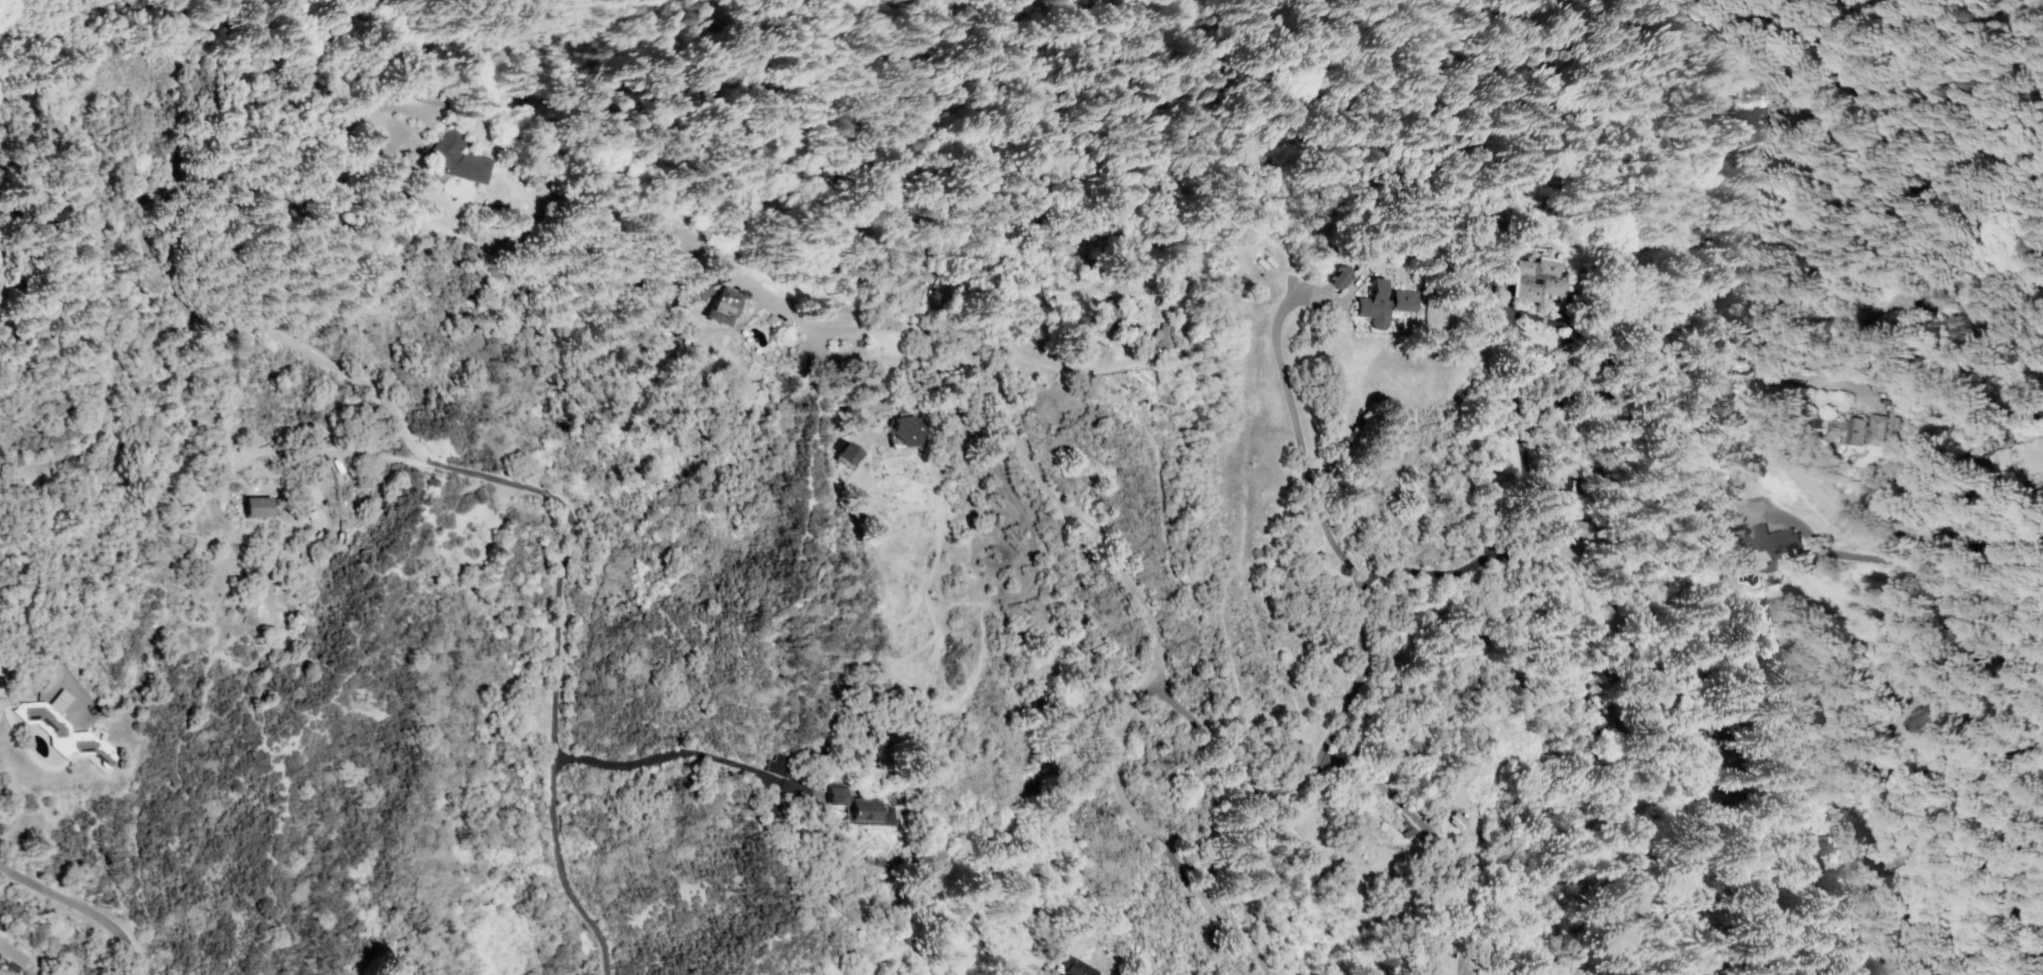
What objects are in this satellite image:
building: (456, 159)
road: (141, 230)
building: (1338, 278)
building: (1535, 280)
building: (907, 285)
building: (697, 290)
building: (1382, 304)
building: (718, 306)
building: (1103, 315)
building: (1159, 338)
road: (1046, 364)
crop: (25, 401)
road: (1003, 404)
building: (1858, 429)
building: (902, 431)
road: (317, 450)
building: (845, 453)
building: (1578, 466)
road: (1798, 477)
road: (1534, 497)
building: (255, 506)
building: (1590, 529)
road: (2021, 539)
building: (1773, 544)
road: (1875, 559)
road: (1359, 633)
road: (38, 640)
road: (1330, 657)
road: (554, 675)
road: (75, 713)
building: (1895, 718)
building: (1745, 719)
building: (63, 731)
road: (682, 752)
building: (777, 765)
building: (859, 808)
road: (1672, 812)
road: (1135, 821)
road: (1427, 833)
road: (1901, 836)
crop: (35, 877)
road: (80, 909)
building: (847, 910)
building: (1076, 968)
building: (1992, 969)
building: (2036, 969)

